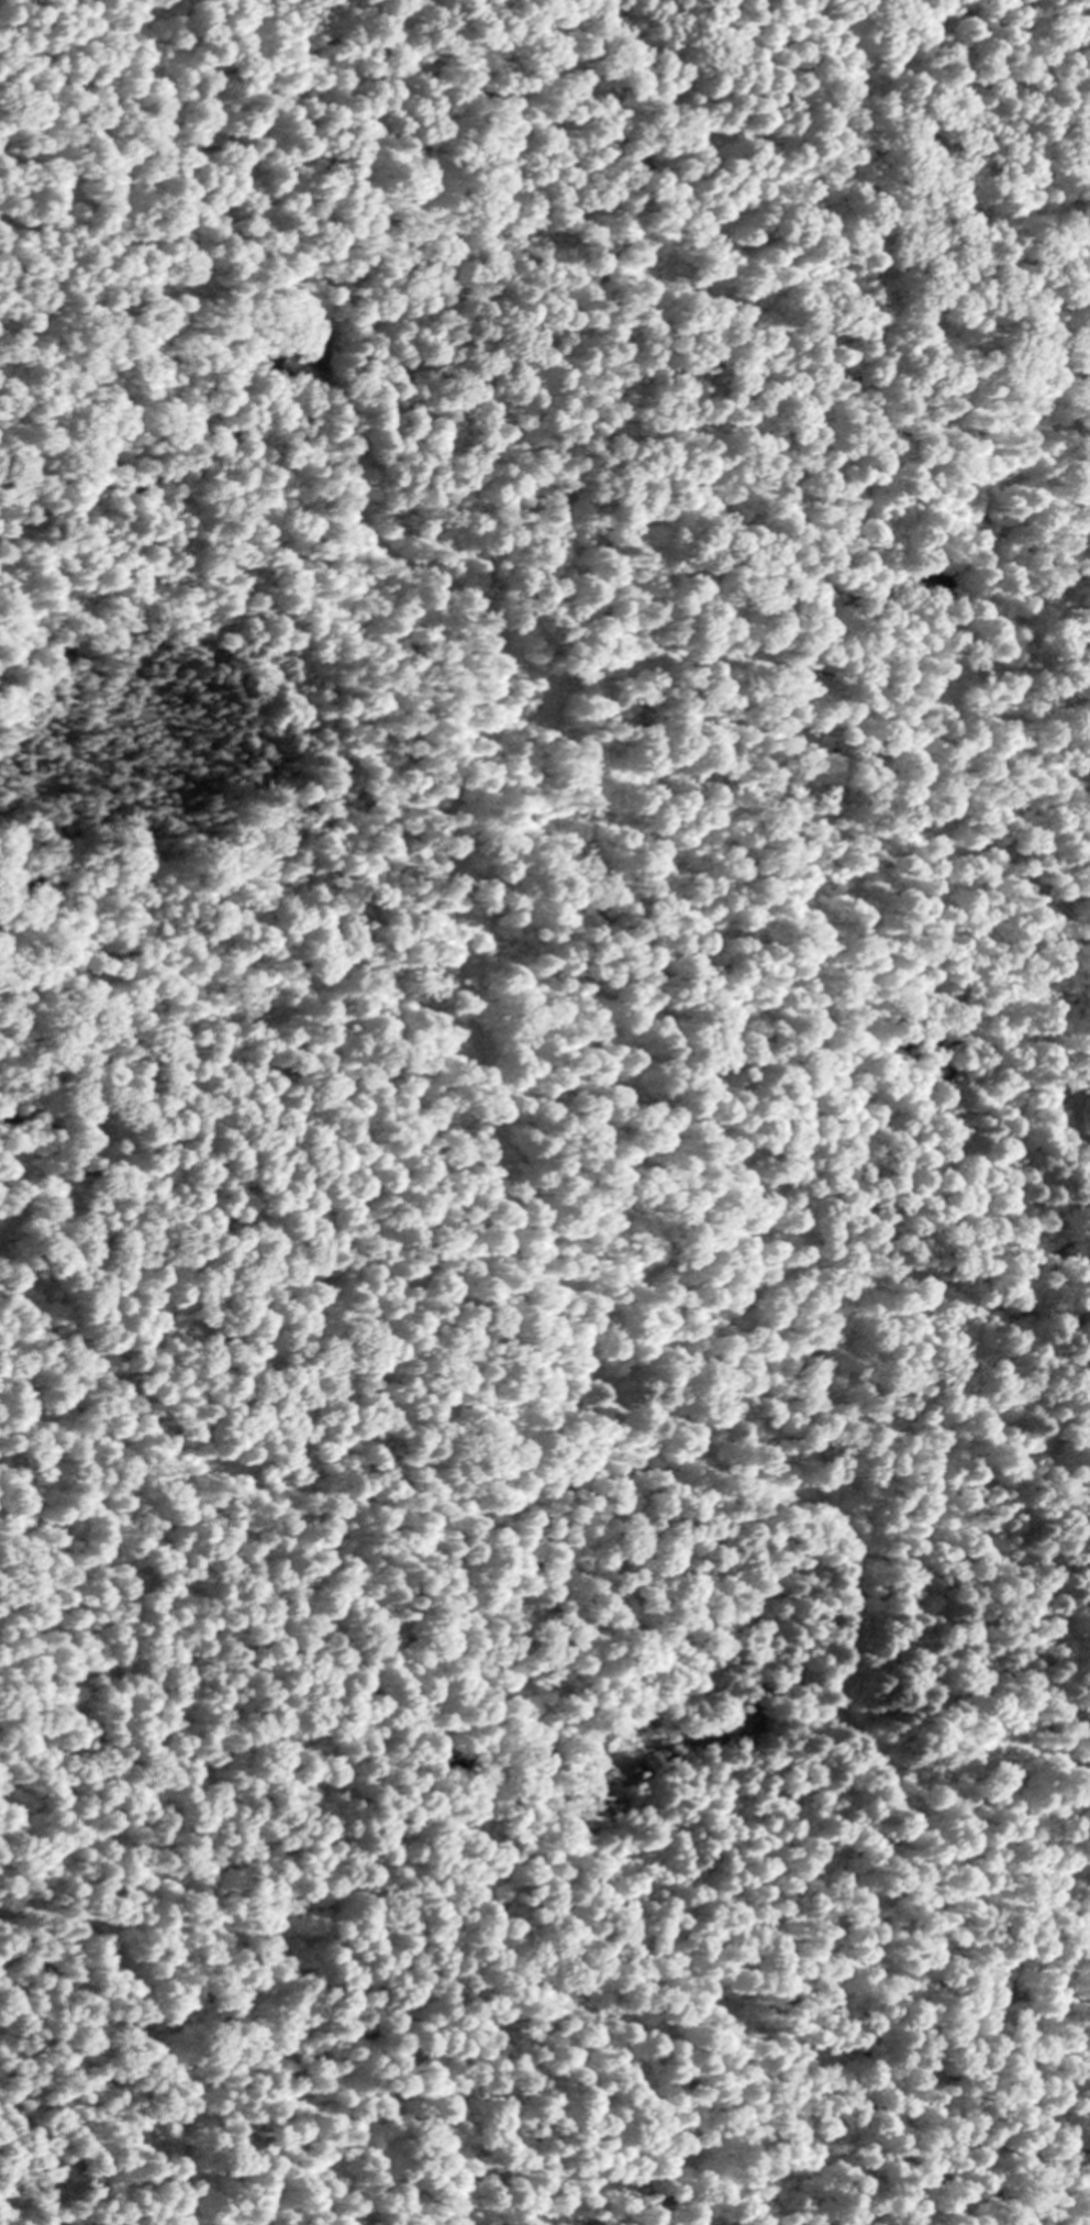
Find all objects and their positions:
road: (348, 165)
road: (569, 879)
road: (557, 1917)
road: (970, 2146)

